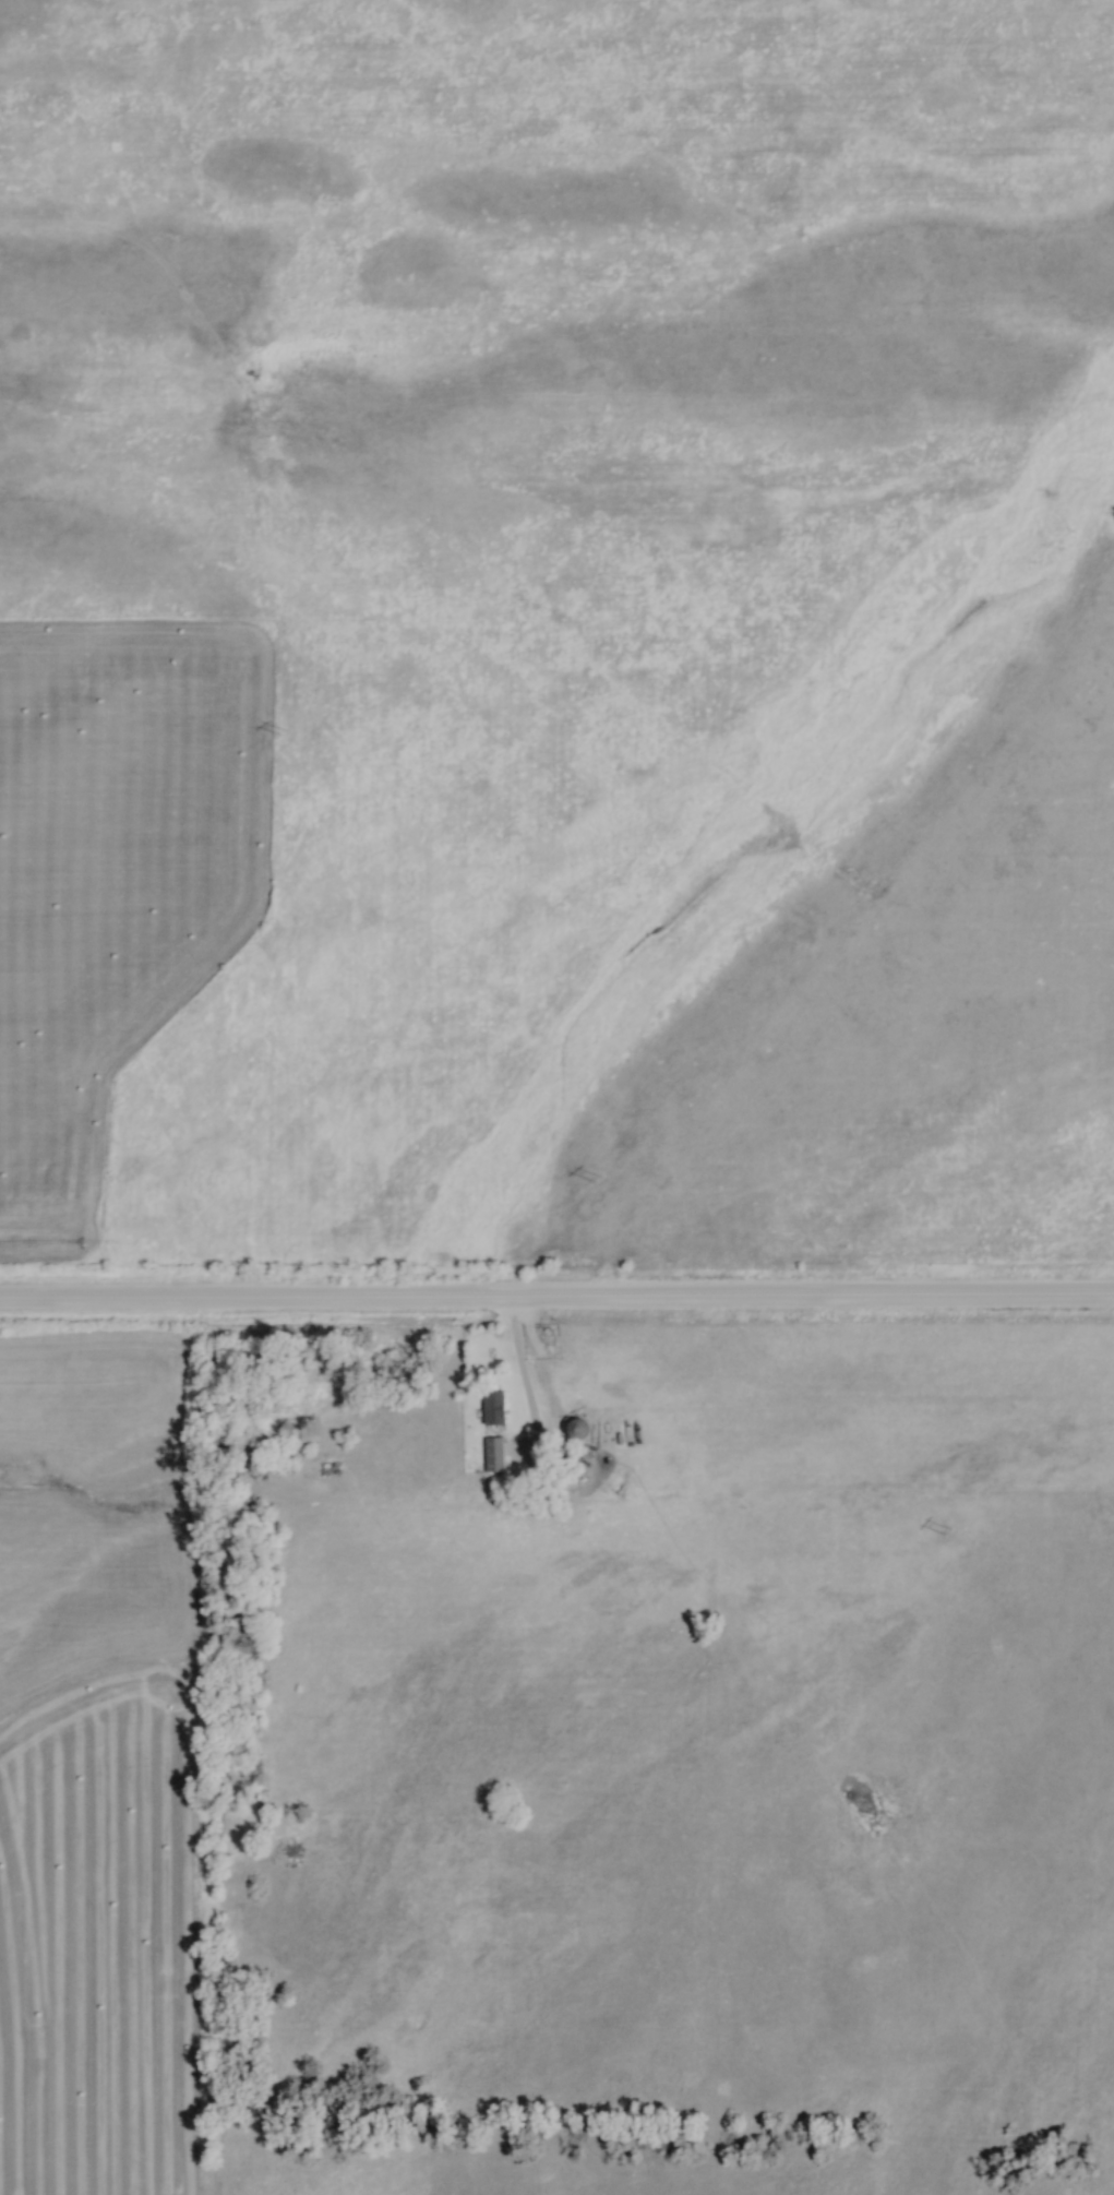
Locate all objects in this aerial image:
road: (556, 1301)
road: (519, 1374)
building: (493, 1409)
building: (578, 1429)
building: (493, 1454)

